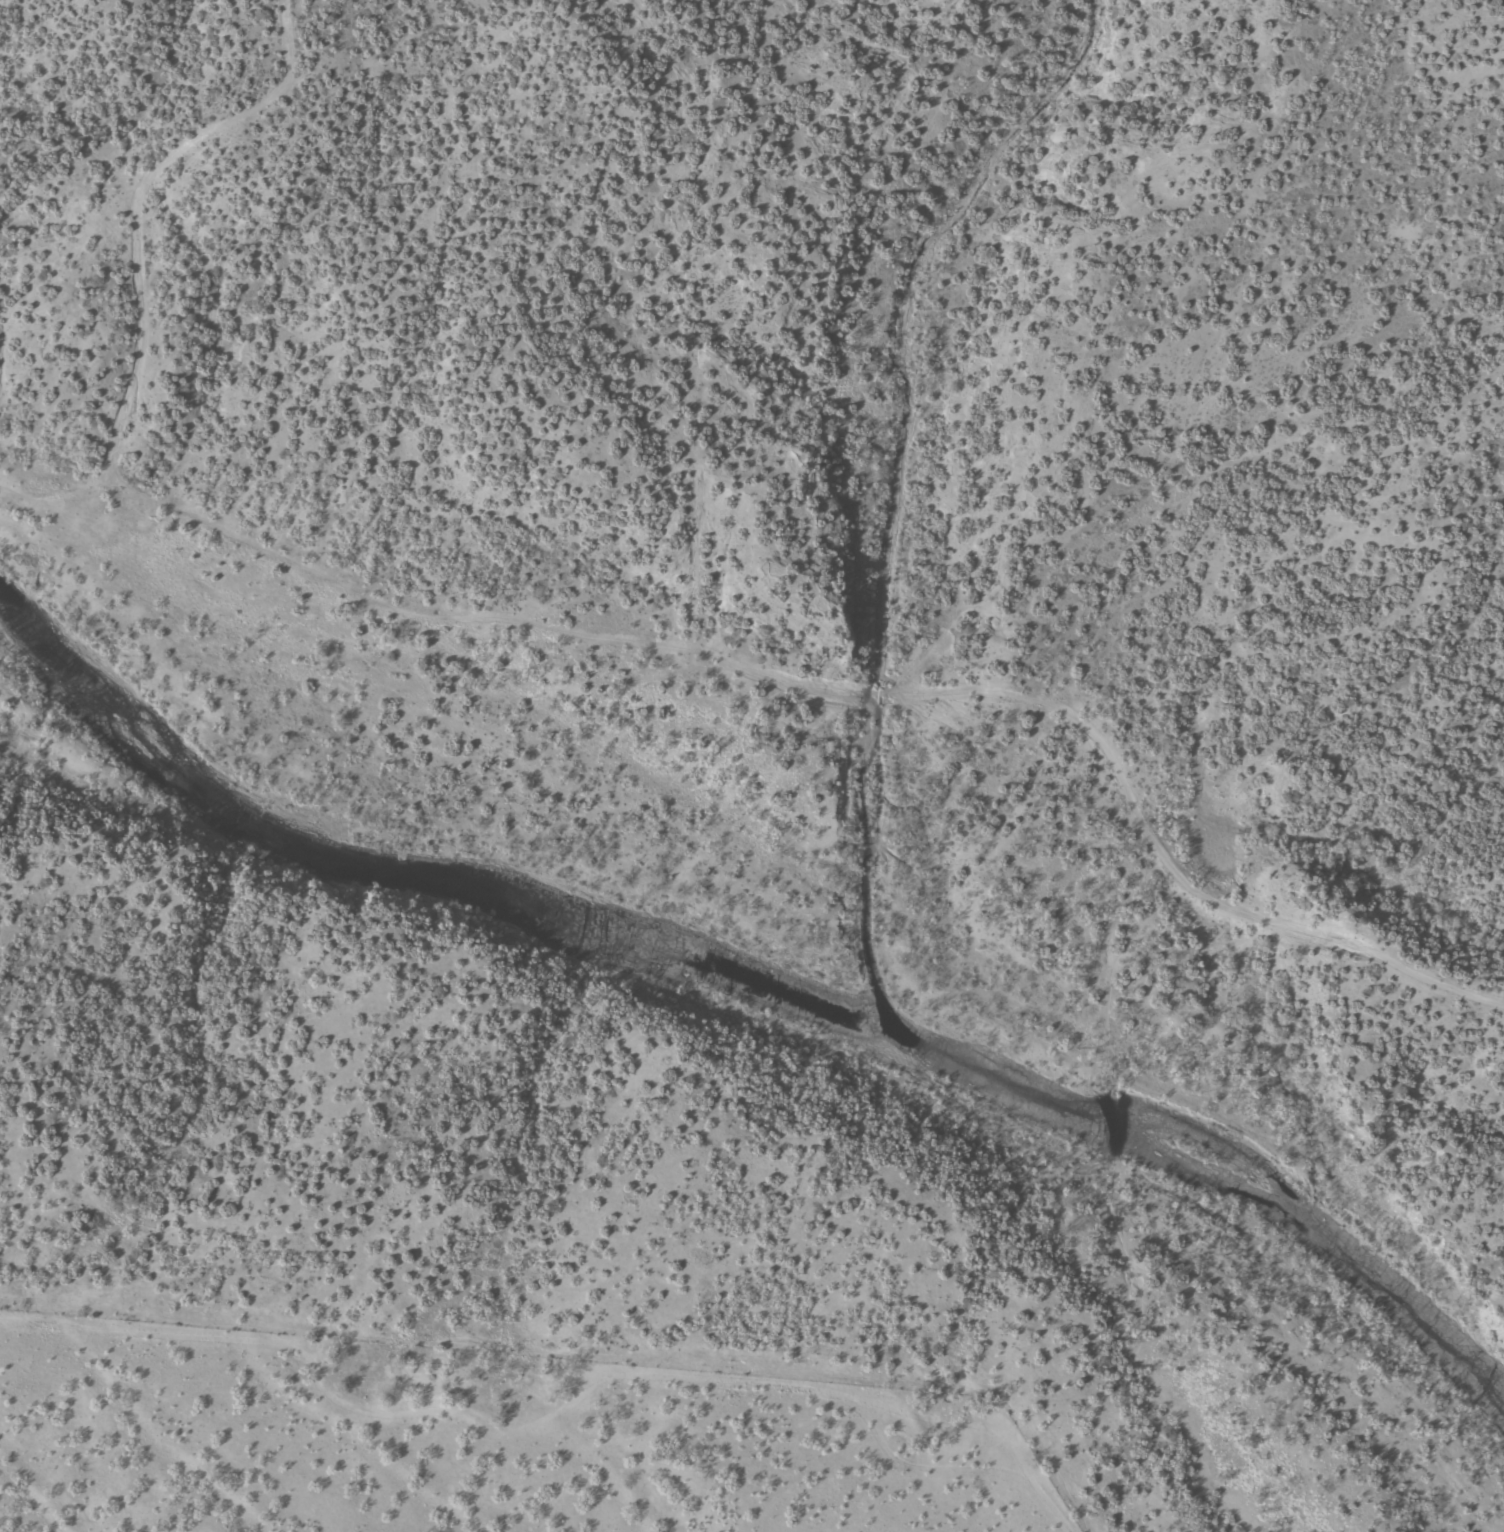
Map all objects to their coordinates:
road: (125, 279)
river: (756, 983)

